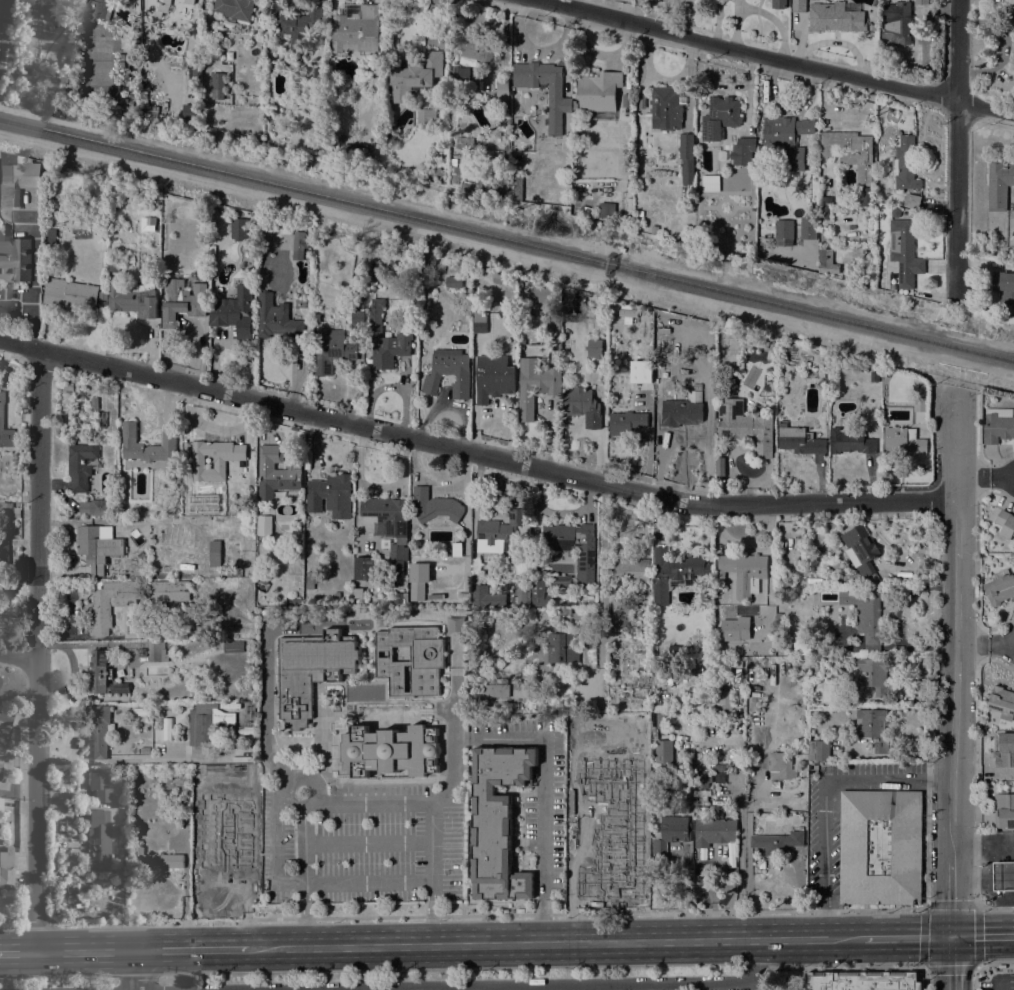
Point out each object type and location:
building: (118, 0)
building: (186, 1)
building: (921, 2)
building: (778, 4)
building: (798, 6)
building: (157, 7)
building: (234, 8)
building: (98, 10)
building: (835, 17)
building: (896, 22)
building: (298, 24)
building: (358, 30)
building: (215, 35)
building: (216, 46)
road: (957, 50)
building: (474, 51)
road: (774, 56)
building: (122, 60)
building: (459, 75)
building: (415, 77)
building: (218, 81)
building: (501, 87)
building: (318, 88)
building: (598, 91)
building: (560, 99)
building: (626, 100)
building: (666, 108)
building: (191, 112)
building: (426, 116)
building: (719, 117)
building: (565, 123)
building: (461, 140)
building: (787, 140)
building: (328, 146)
building: (850, 151)
building: (741, 152)
building: (356, 154)
building: (721, 155)
building: (498, 157)
building: (686, 158)
building: (904, 163)
building: (438, 173)
building: (456, 176)
building: (16, 178)
building: (710, 183)
building: (999, 184)
building: (516, 186)
building: (118, 191)
building: (866, 196)
road: (955, 196)
building: (912, 200)
building: (606, 210)
building: (824, 213)
building: (238, 228)
building: (808, 228)
building: (654, 230)
building: (784, 231)
building: (51, 240)
building: (298, 241)
railway: (507, 241)
building: (905, 250)
building: (427, 259)
building: (15, 260)
building: (827, 261)
building: (114, 267)
building: (359, 268)
building: (424, 278)
building: (499, 278)
building: (453, 281)
building: (891, 287)
building: (68, 293)
building: (1006, 293)
building: (547, 294)
building: (102, 299)
building: (132, 300)
building: (183, 300)
building: (569, 302)
building: (361, 304)
building: (235, 312)
building: (628, 313)
building: (604, 314)
building: (274, 317)
building: (317, 318)
building: (358, 318)
building: (480, 321)
building: (385, 338)
building: (760, 338)
building: (663, 343)
building: (594, 348)
building: (772, 348)
building: (332, 350)
building: (449, 372)
building: (885, 374)
building: (663, 376)
building: (874, 376)
building: (493, 377)
building: (915, 379)
building: (695, 380)
building: (535, 385)
building: (68, 387)
building: (644, 388)
building: (94, 403)
building: (920, 405)
building: (583, 406)
building: (686, 415)
building: (2, 416)
building: (114, 416)
building: (101, 418)
building: (626, 422)
building: (998, 425)
building: (746, 429)
building: (129, 437)
building: (903, 439)
building: (849, 442)
building: (800, 443)
road: (957, 451)
road: (474, 453)
building: (214, 459)
building: (81, 465)
building: (276, 471)
building: (176, 476)
road: (973, 476)
road: (1001, 476)
building: (331, 495)
building: (434, 505)
building: (99, 506)
building: (387, 514)
building: (1006, 523)
building: (251, 524)
road: (956, 528)
building: (501, 532)
road: (744, 542)
building: (98, 546)
building: (572, 547)
building: (456, 549)
building: (860, 549)
building: (5, 551)
building: (215, 553)
building: (141, 555)
building: (397, 559)
building: (362, 567)
building: (239, 572)
building: (631, 572)
building: (743, 572)
building: (674, 573)
building: (263, 577)
building: (418, 579)
building: (310, 580)
building: (831, 581)
building: (560, 582)
building: (1000, 587)
building: (584, 588)
building: (539, 592)
building: (336, 595)
building: (463, 597)
building: (485, 599)
building: (521, 599)
building: (130, 600)
building: (358, 601)
building: (504, 602)
building: (182, 608)
building: (272, 611)
building: (563, 611)
building: (264, 612)
building: (620, 613)
building: (865, 616)
road: (278, 625)
building: (734, 629)
building: (804, 642)
building: (233, 647)
building: (562, 647)
road: (972, 647)
road: (1001, 647)
road: (37, 650)
building: (157, 651)
road: (18, 657)
building: (411, 659)
building: (311, 670)
building: (103, 674)
building: (869, 675)
building: (493, 688)
building: (552, 696)
building: (717, 698)
building: (1002, 702)
road: (954, 709)
building: (5, 717)
building: (661, 721)
road: (71, 723)
building: (202, 728)
building: (873, 728)
building: (100, 730)
building: (1003, 749)
building: (390, 750)
building: (818, 751)
building: (663, 752)
road: (272, 756)
road: (146, 759)
building: (697, 760)
road: (52, 762)
building: (0, 764)
building: (781, 764)
road: (309, 777)
building: (702, 779)
building: (99, 786)
road: (437, 796)
road: (825, 797)
road: (365, 803)
road: (543, 803)
building: (0, 805)
building: (1004, 810)
building: (498, 821)
building: (675, 828)
building: (713, 830)
building: (98, 840)
building: (777, 842)
building: (218, 843)
building: (606, 843)
road: (366, 844)
building: (880, 846)
road: (747, 854)
building: (156, 860)
road: (986, 865)
building: (6, 869)
road: (968, 876)
building: (1003, 876)
road: (367, 878)
road: (185, 896)
road: (950, 899)
road: (995, 909)
road: (430, 911)
road: (306, 913)
road: (981, 935)
road: (905, 937)
traffic signals: (950, 937)
road: (554, 942)
road: (192, 949)
road: (86, 951)
road: (17, 952)
road: (994, 962)
road: (950, 963)
road: (974, 966)
road: (840, 968)
road: (137, 970)
road: (974, 977)
road: (925, 978)
building: (862, 981)
road: (597, 985)
road: (998, 985)

